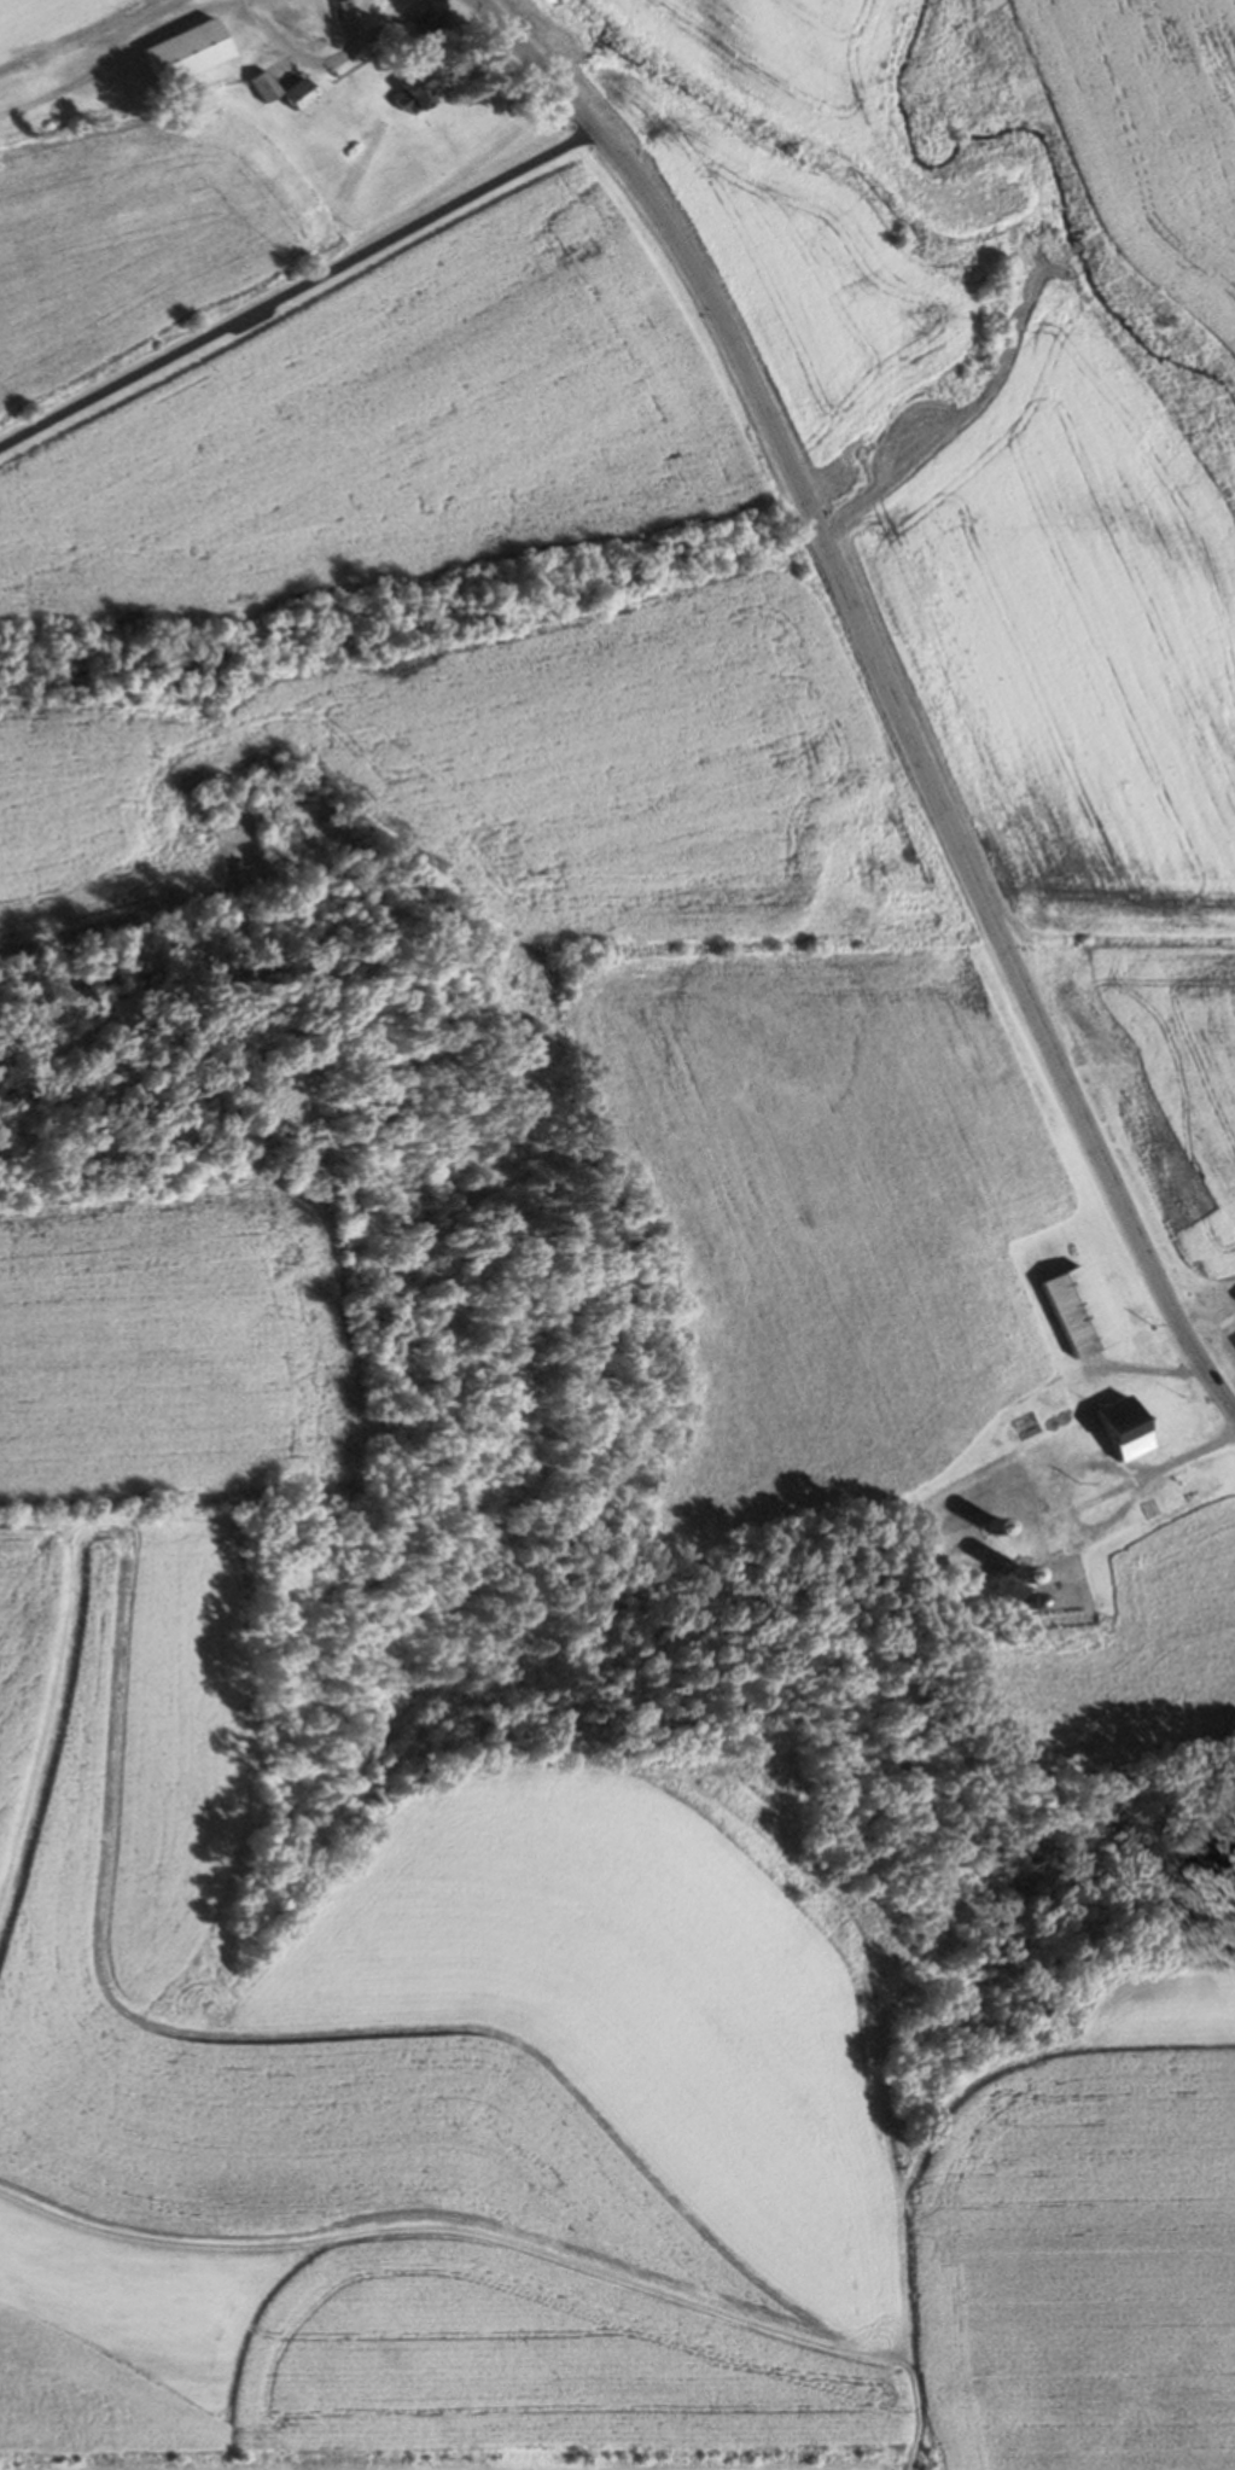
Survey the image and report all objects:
building: (346, 1)
building: (435, 28)
road: (299, 48)
building: (199, 52)
building: (274, 86)
building: (311, 93)
building: (429, 94)
river: (1045, 153)
road: (1071, 247)
road: (293, 291)
road: (885, 686)
building: (1074, 1313)
building: (1122, 1427)
building: (994, 1526)
building: (1021, 1573)
building: (926, 1588)
building: (1023, 1601)

